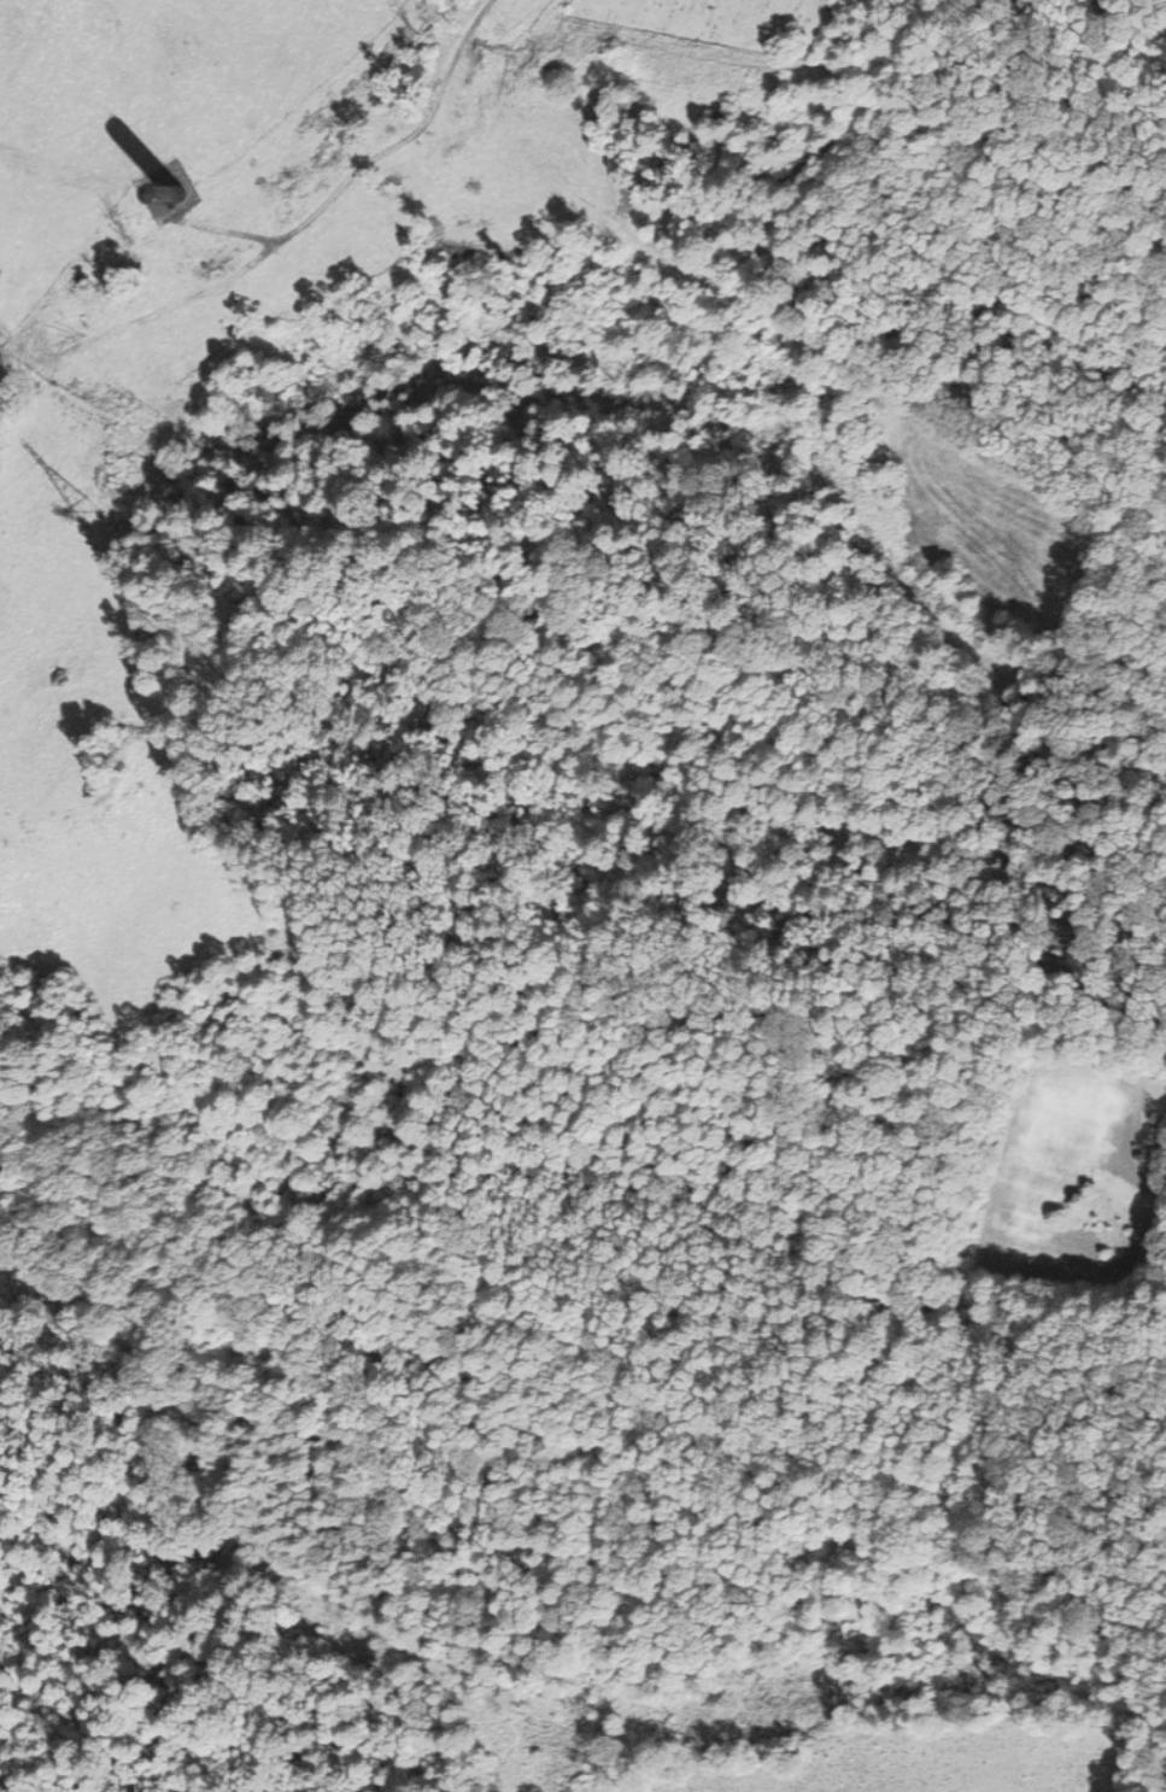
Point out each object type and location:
power tower: (102, 510)

